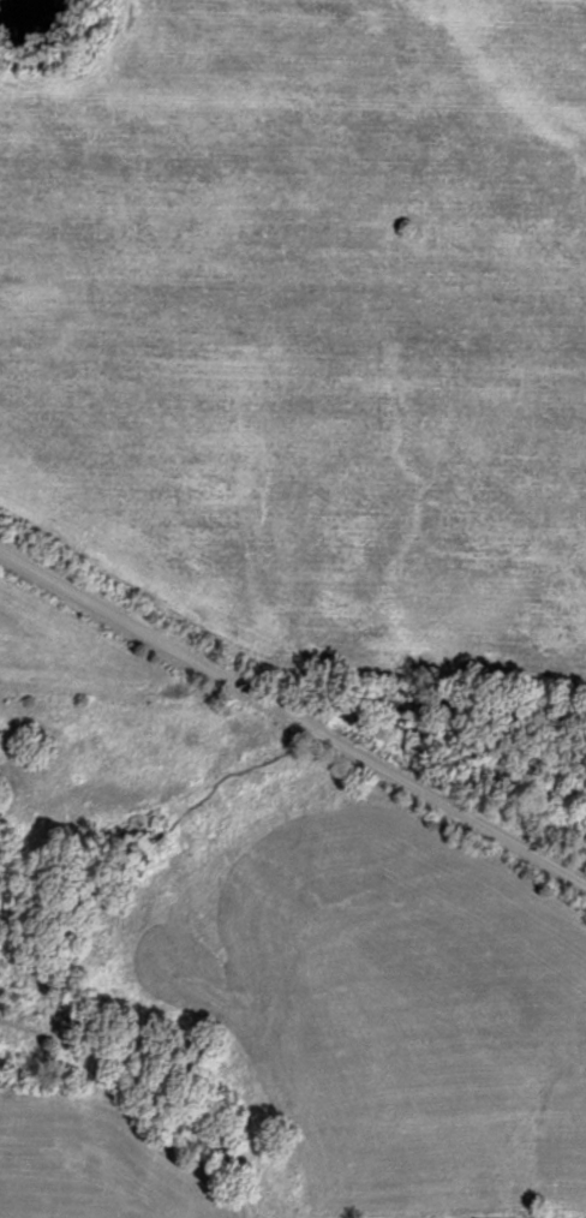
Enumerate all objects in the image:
road: (431, 722)
road: (291, 727)

